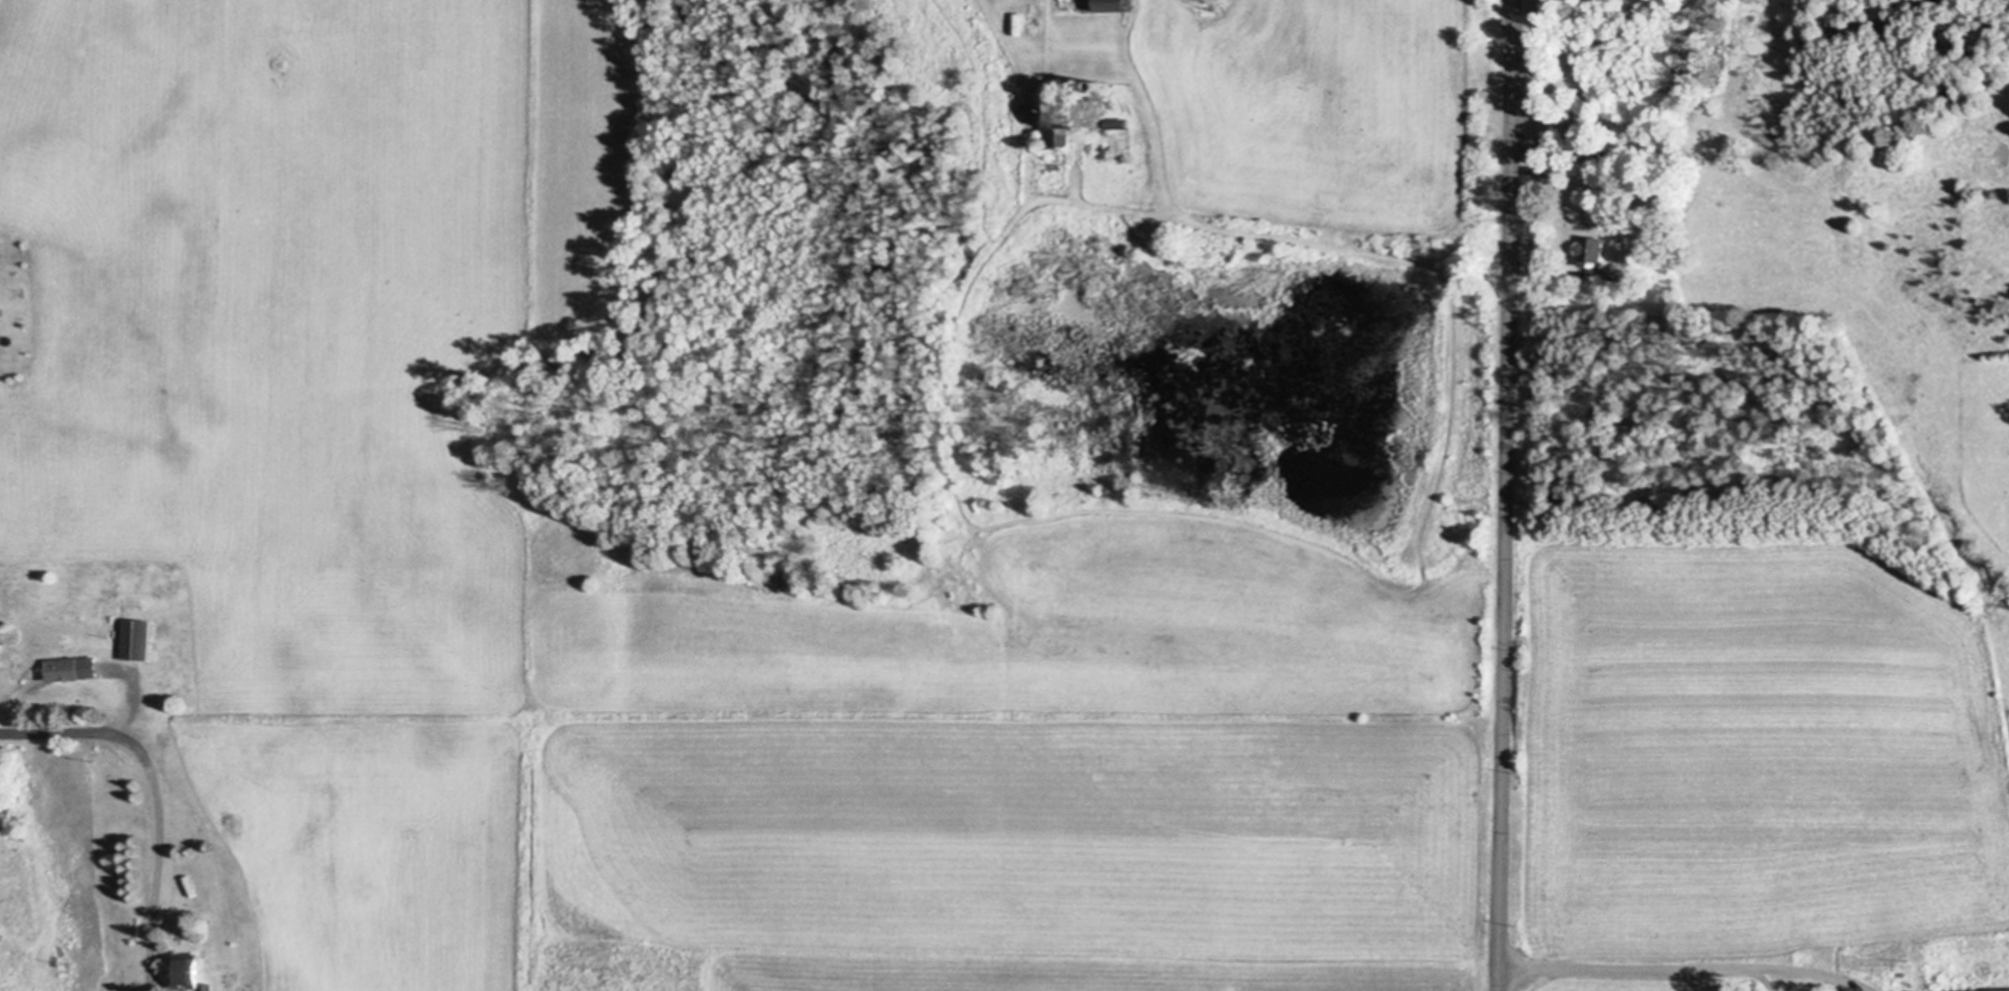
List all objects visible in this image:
road: (996, 13)
road: (1541, 274)
road: (1505, 495)
road: (56, 735)
road: (158, 814)
road: (1681, 972)
road: (149, 978)
road: (157, 978)

